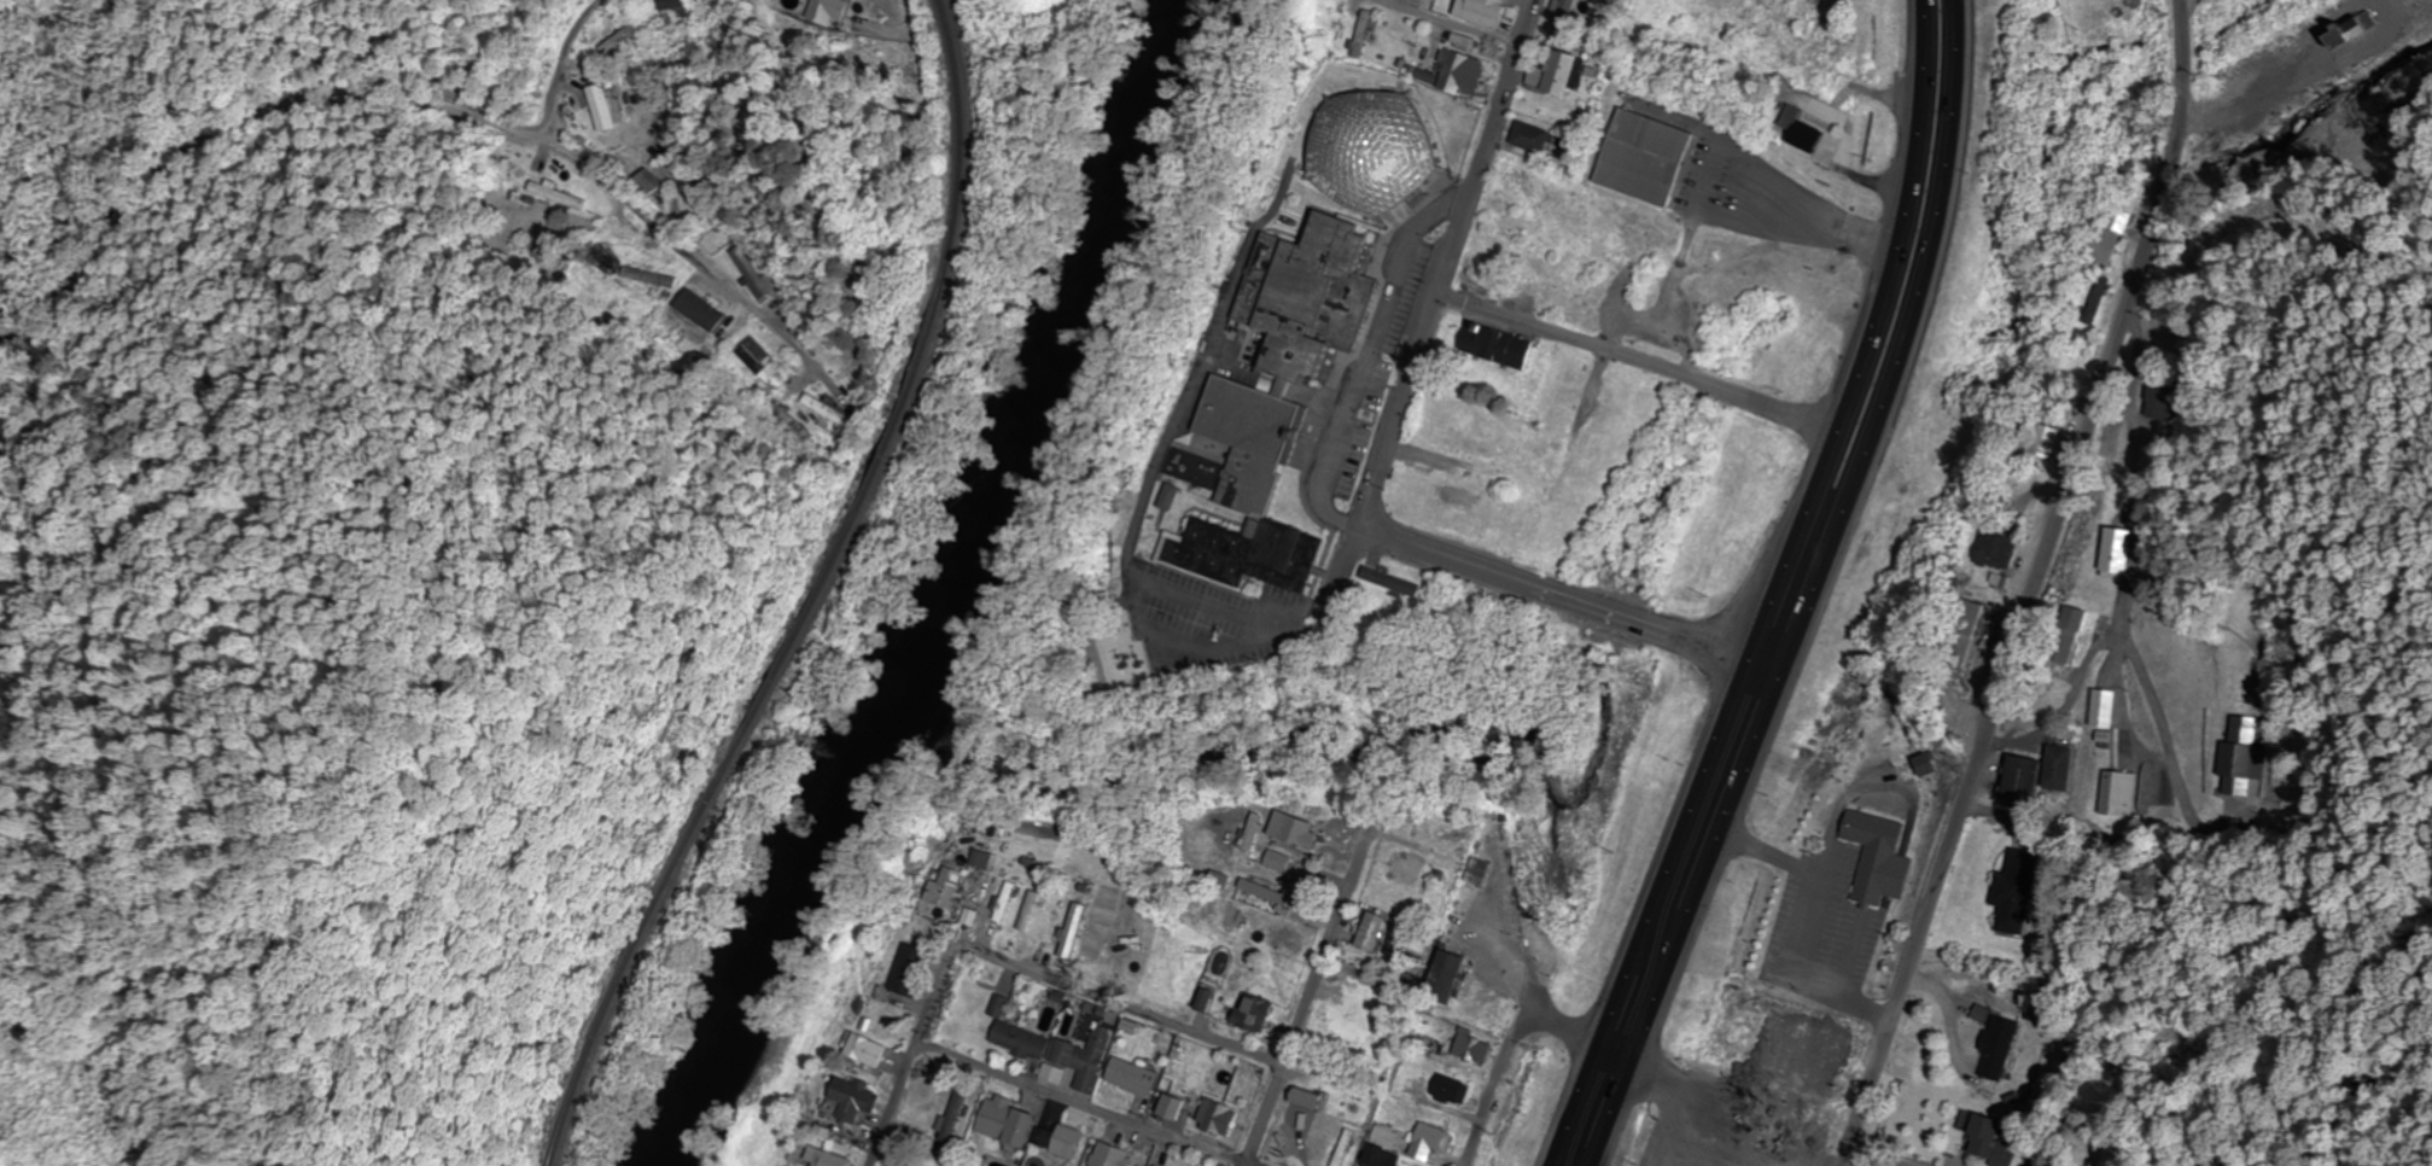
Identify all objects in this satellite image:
building: (828, 6)
building: (676, 11)
building: (1481, 11)
building: (1564, 16)
building: (2416, 16)
road: (1454, 27)
building: (1364, 34)
building: (1463, 41)
building: (1824, 47)
road: (564, 68)
road: (2304, 69)
building: (1462, 70)
building: (1559, 72)
road: (398, 106)
building: (600, 107)
building: (1532, 136)
building: (1804, 136)
road: (1716, 157)
building: (1383, 167)
building: (1654, 170)
building: (643, 181)
building: (554, 194)
parking lot: (1743, 196)
road: (1849, 225)
building: (1498, 226)
building: (2112, 237)
building: (603, 261)
building: (742, 272)
building: (648, 276)
road: (1444, 298)
building: (1497, 346)
building: (750, 355)
road: (1644, 362)
road: (1377, 369)
building: (2165, 401)
building: (809, 404)
building: (1288, 414)
building: (2055, 442)
flagpole: (1314, 443)
building: (2001, 550)
building: (2119, 550)
road: (2138, 565)
road: (2030, 584)
road: (1814, 590)
road: (1778, 591)
river: (944, 593)
railway: (803, 594)
road: (1577, 604)
building: (1969, 632)
building: (2070, 635)
road: (2124, 688)
building: (2104, 709)
road: (2166, 738)
building: (2241, 758)
building: (2059, 766)
building: (2022, 779)
building: (2119, 793)
building: (1296, 832)
building: (1879, 858)
building: (982, 859)
building: (1279, 862)
building: (1407, 868)
building: (1482, 874)
building: (1223, 880)
building: (951, 884)
building: (2014, 891)
building: (1269, 894)
building: (1009, 902)
building: (1033, 911)
building: (1075, 932)
building: (1374, 932)
building: (912, 972)
building: (1446, 978)
road: (1311, 999)
road: (932, 1009)
building: (1254, 1014)
building: (1366, 1021)
road: (1171, 1022)
road: (1516, 1036)
building: (1019, 1037)
building: (1471, 1047)
building: (1997, 1048)
building: (868, 1051)
building: (1086, 1059)
building: (1318, 1063)
building: (1136, 1077)
building: (1451, 1089)
building: (1308, 1098)
building: (857, 1100)
road: (1085, 1103)
building: (1172, 1108)
building: (956, 1118)
building: (1217, 1118)
building: (1781, 1118)
building: (1008, 1121)
building: (1387, 1136)
building: (1433, 1136)
building: (1989, 1141)
building: (1067, 1142)
building: (1345, 1148)
building: (1110, 1155)
building: (1381, 1156)
road: (1882, 1158)
building: (835, 1160)

